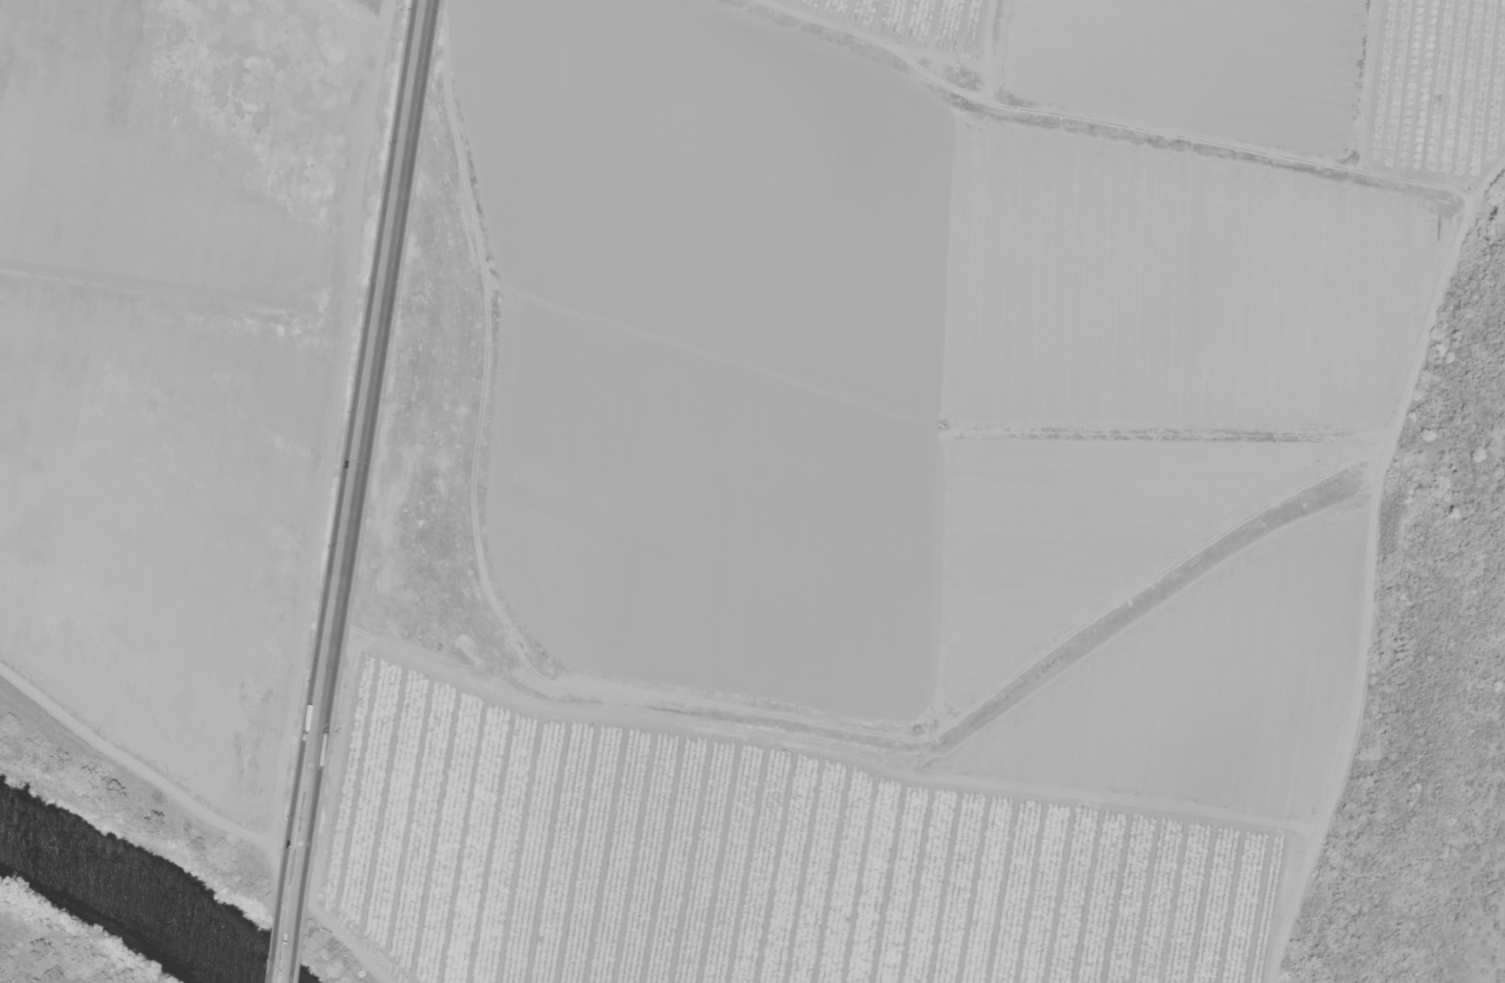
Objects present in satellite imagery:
road: (357, 444)
river: (144, 890)
road: (282, 935)

